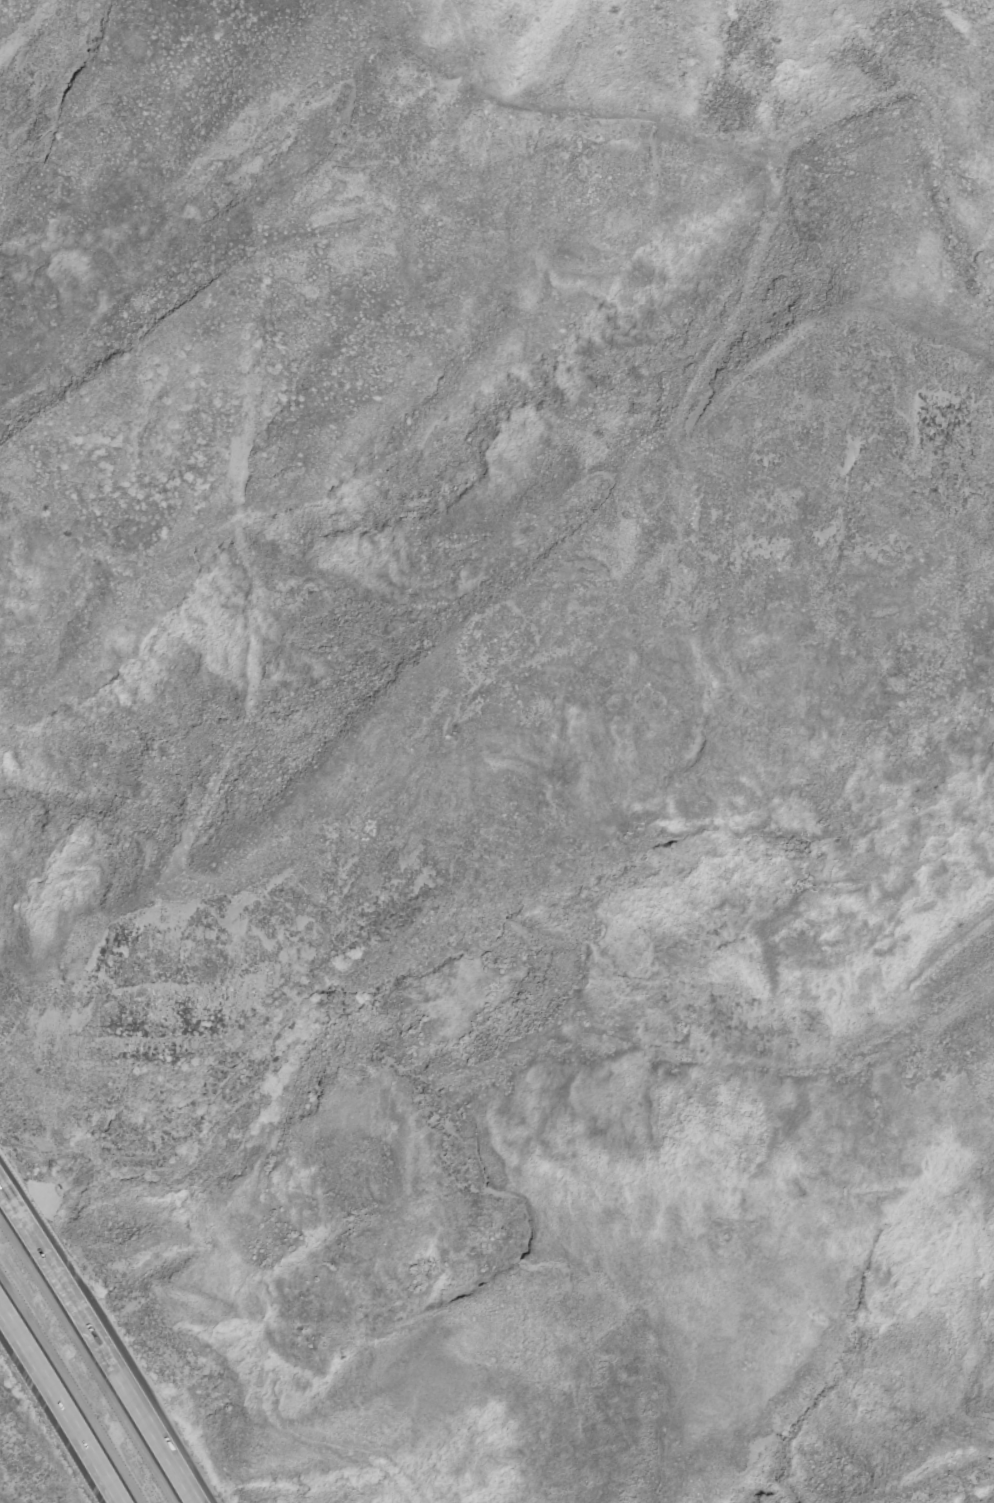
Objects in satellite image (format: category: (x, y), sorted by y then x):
road: (756, 276)
road: (410, 836)
road: (97, 1343)
road: (61, 1402)

